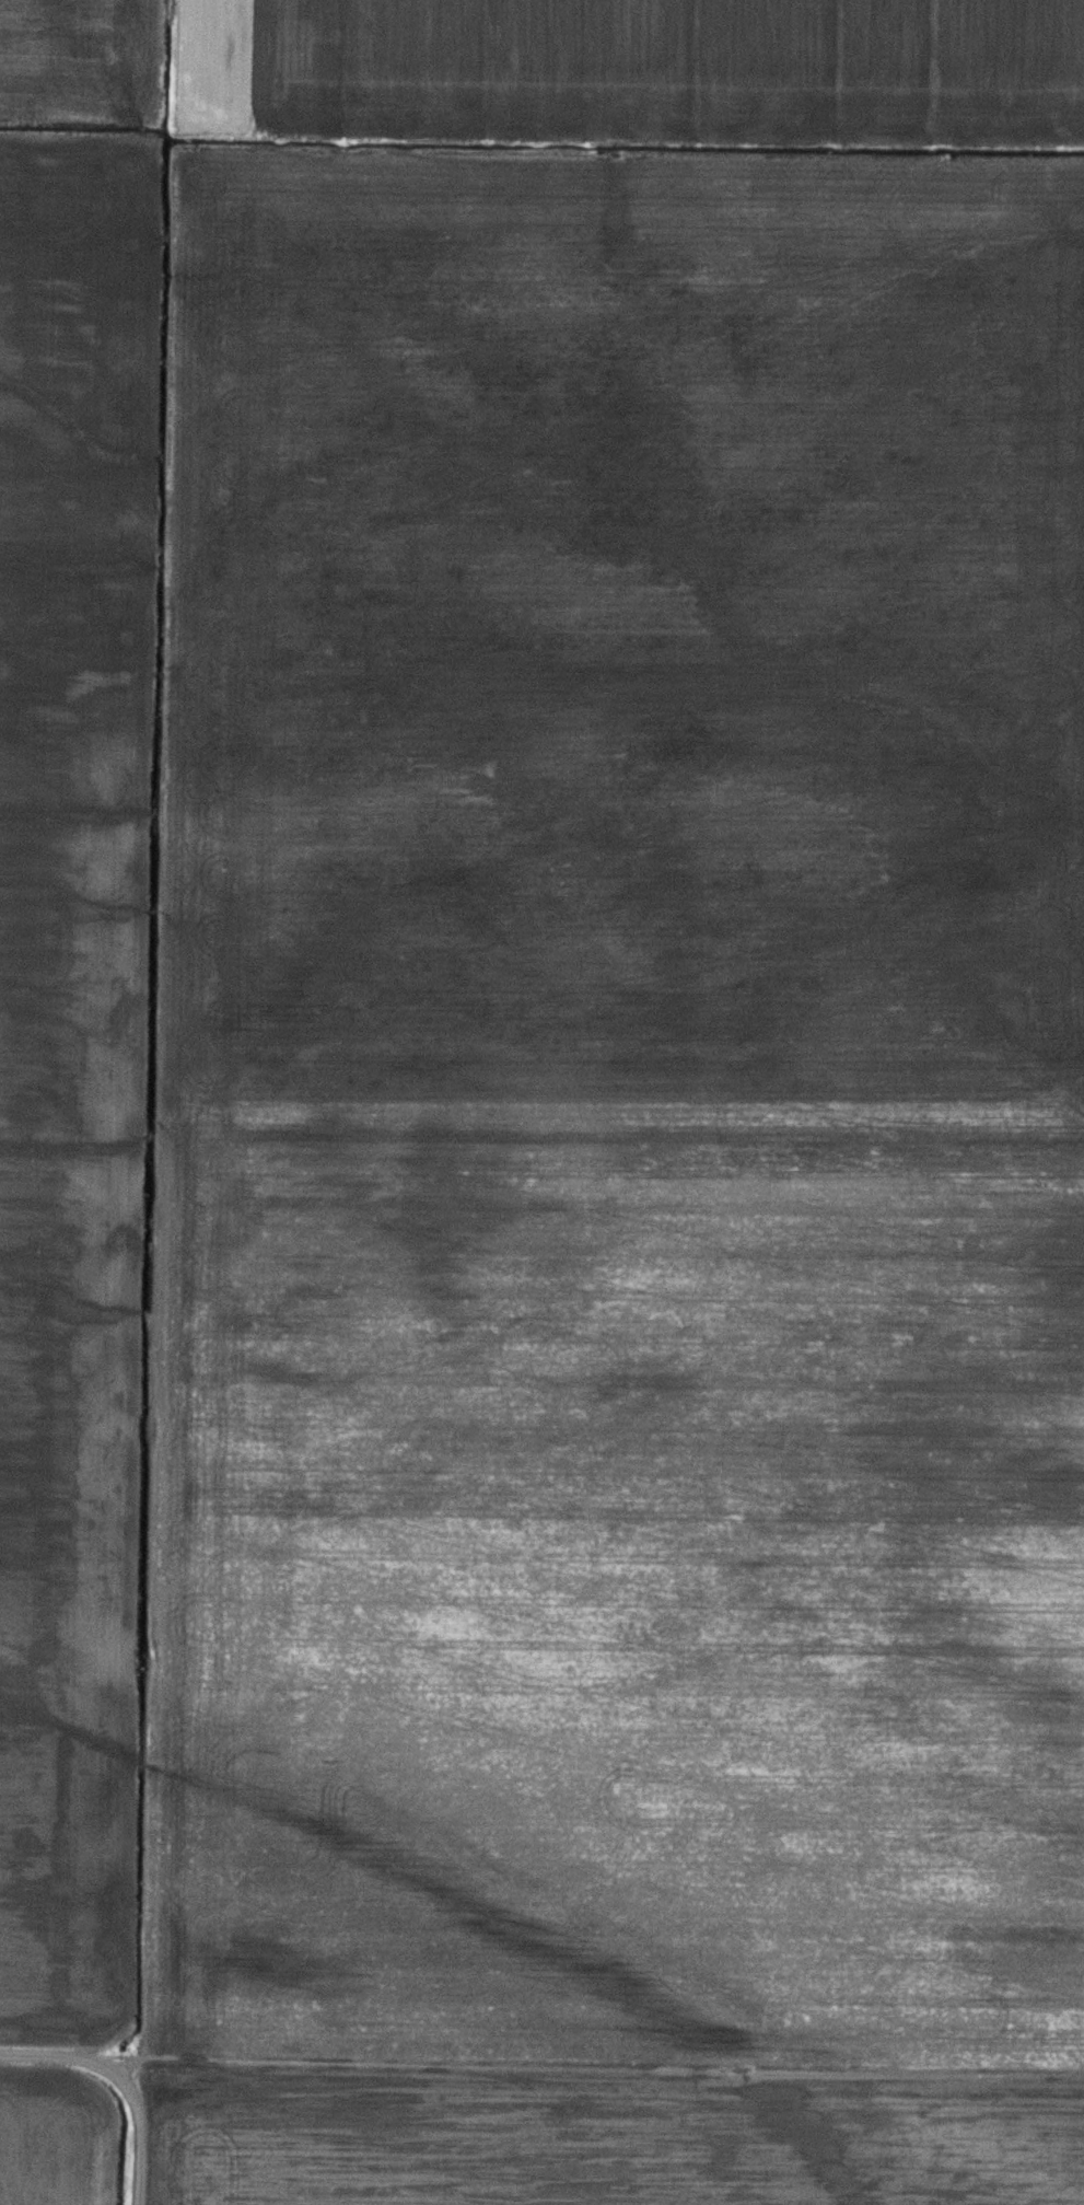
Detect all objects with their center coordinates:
road: (123, 2079)

